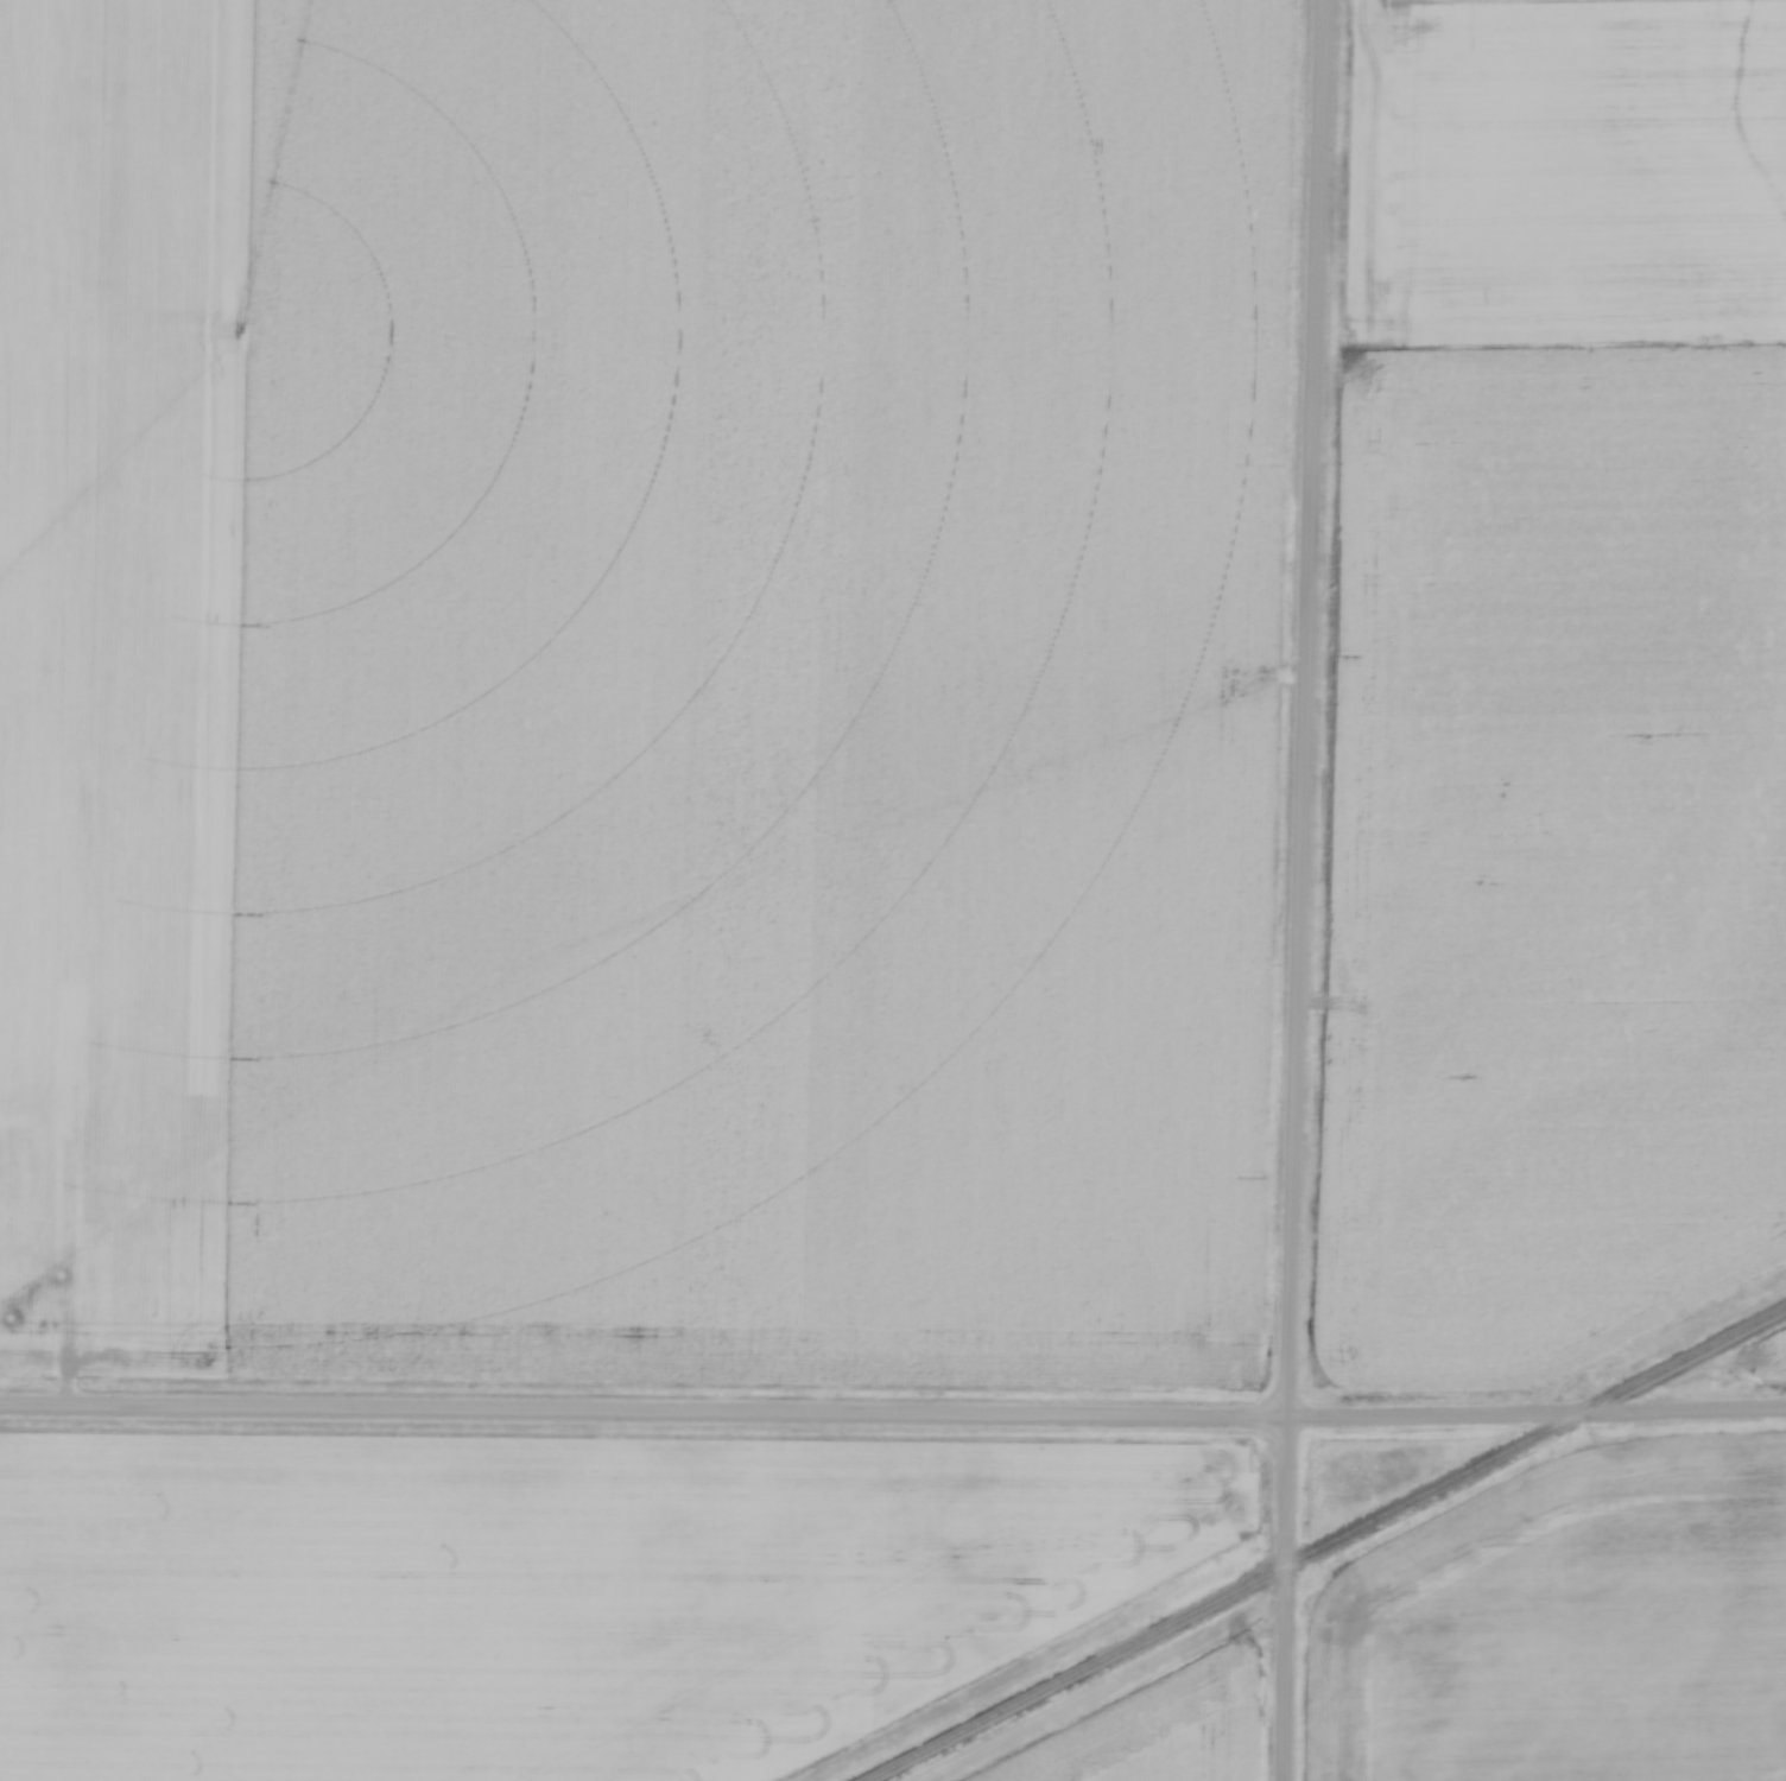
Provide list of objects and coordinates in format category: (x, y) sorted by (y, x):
road: (1296, 890)
road: (893, 1419)
railway: (1313, 1538)

